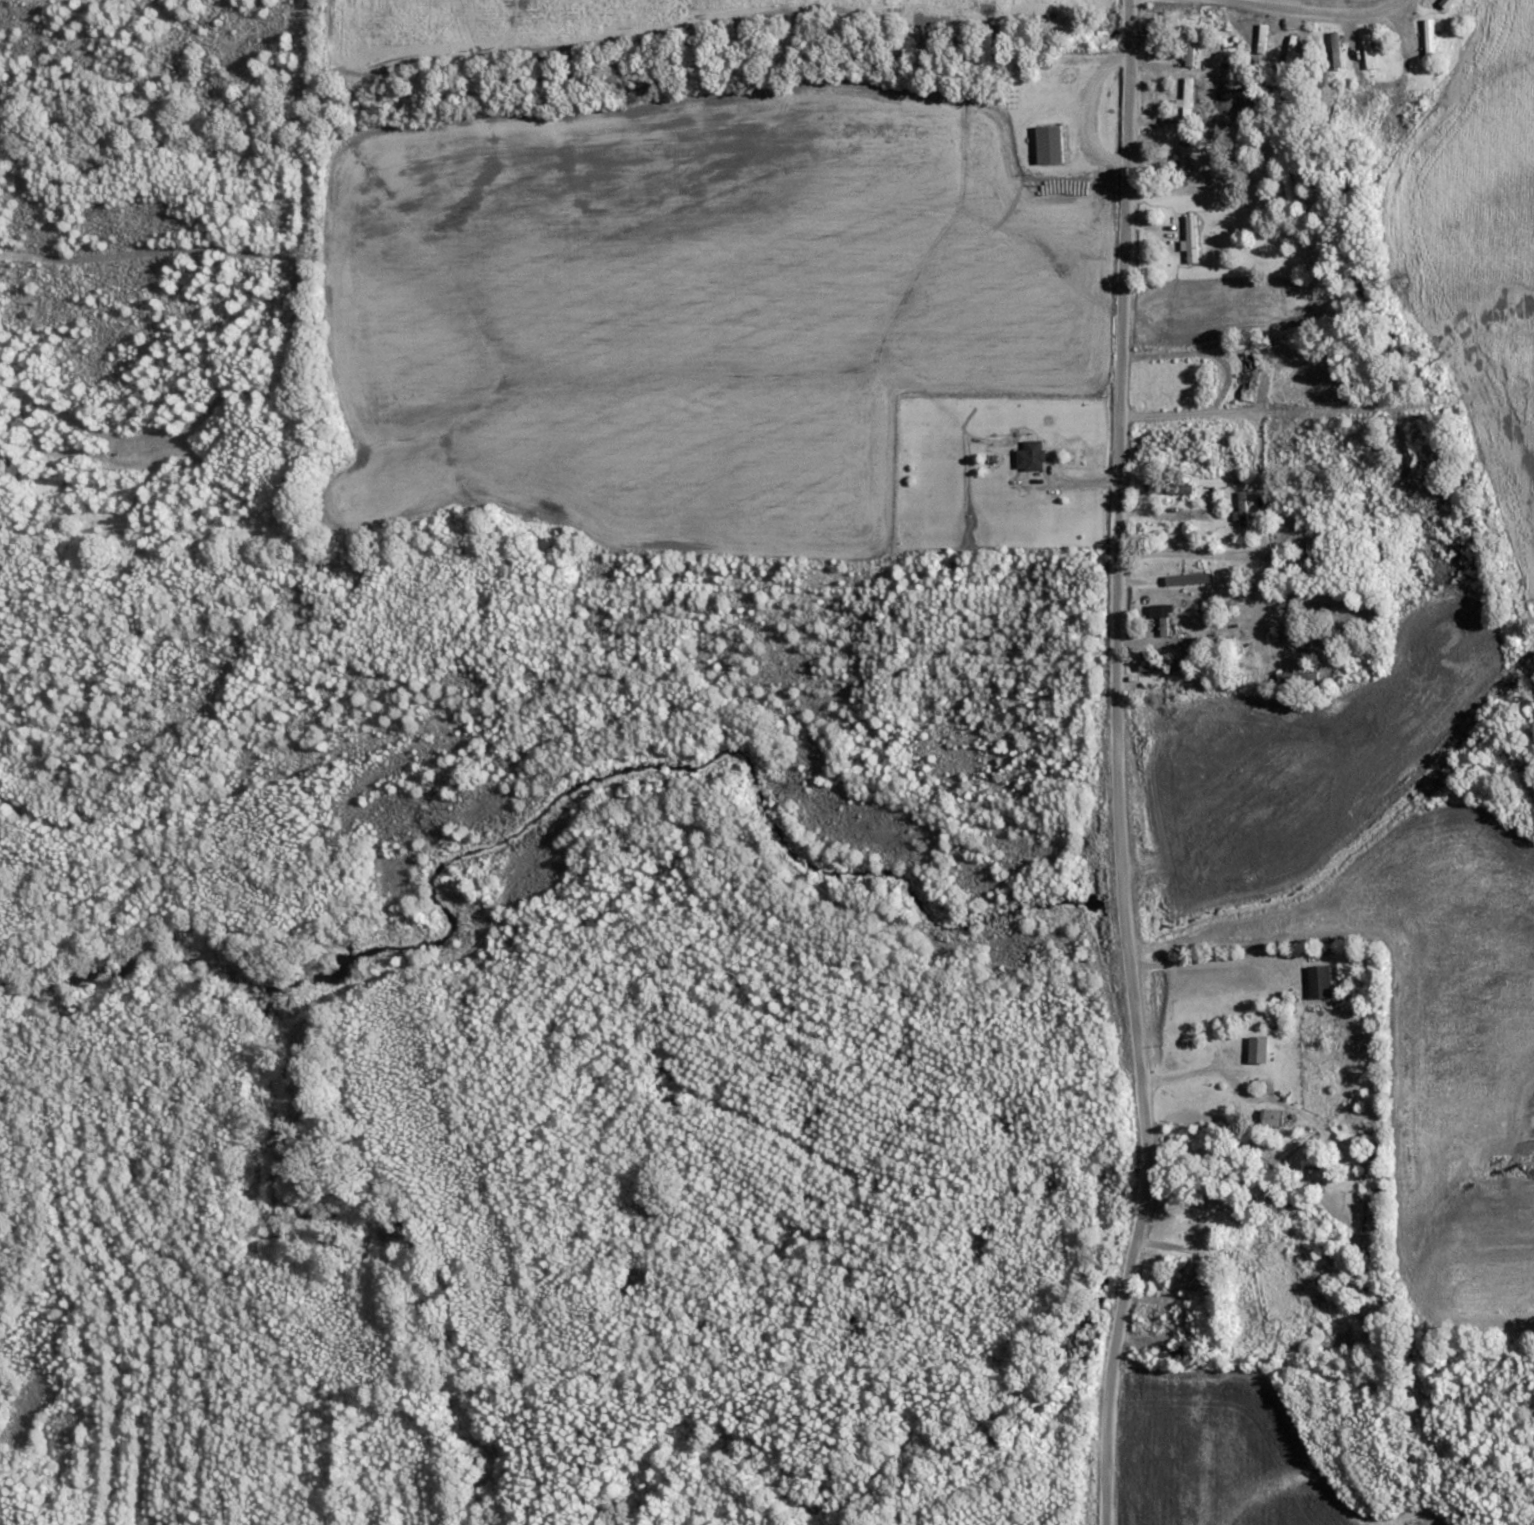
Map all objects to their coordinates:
building: (1447, 1)
road: (1301, 15)
building: (1432, 40)
building: (1371, 50)
building: (1193, 51)
building: (1189, 95)
building: (1406, 118)
building: (1052, 143)
building: (1186, 153)
building: (1288, 190)
building: (1193, 238)
building: (1249, 376)
building: (1033, 455)
building: (1171, 488)
building: (1301, 556)
building: (1218, 640)
building: (1162, 665)
building: (1299, 676)
road: (1120, 765)
building: (1321, 982)
building: (1199, 1098)
building: (1274, 1118)
building: (1197, 1228)
building: (1195, 1277)
building: (1182, 1353)

